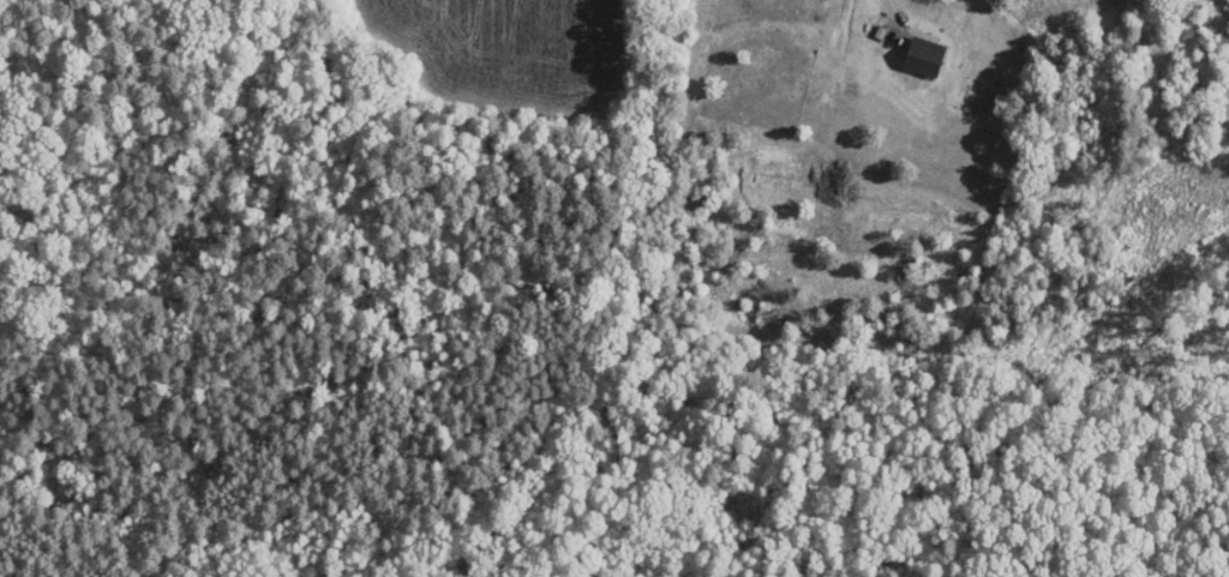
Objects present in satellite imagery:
road: (893, 11)

